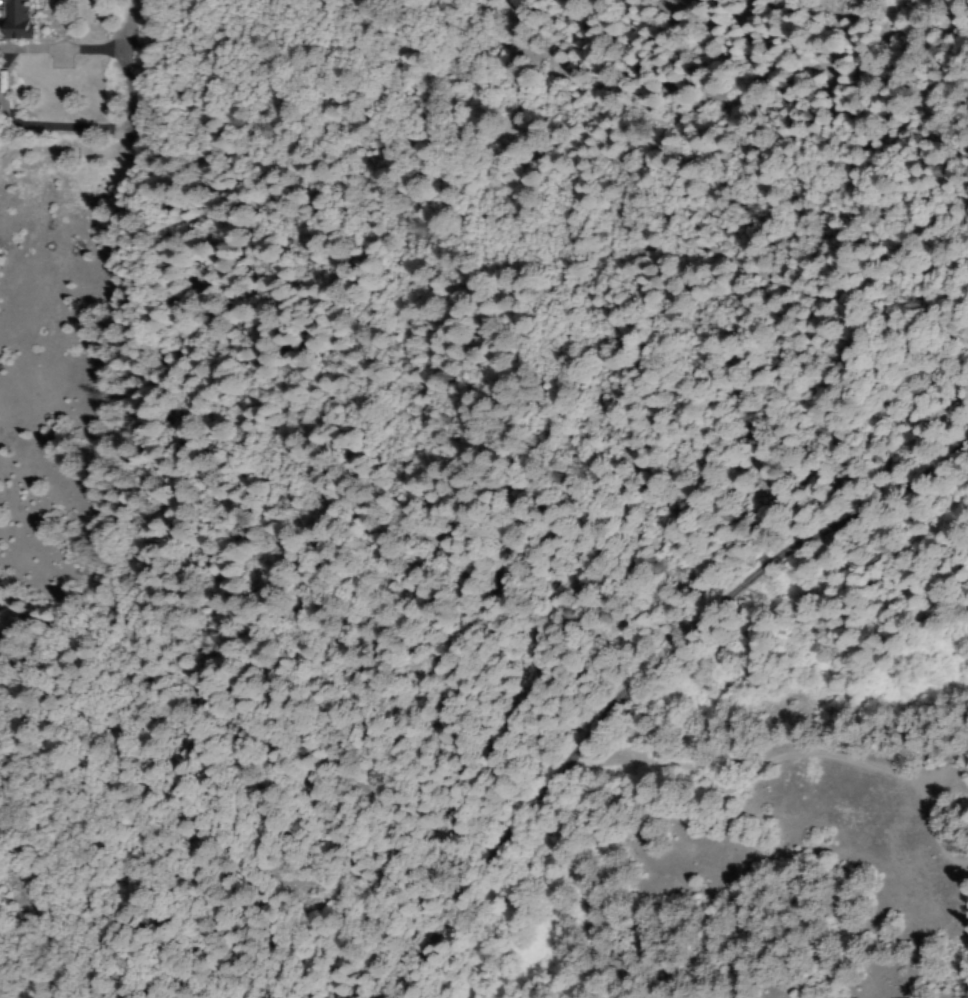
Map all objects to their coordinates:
building: (15, 19)
road: (639, 672)

